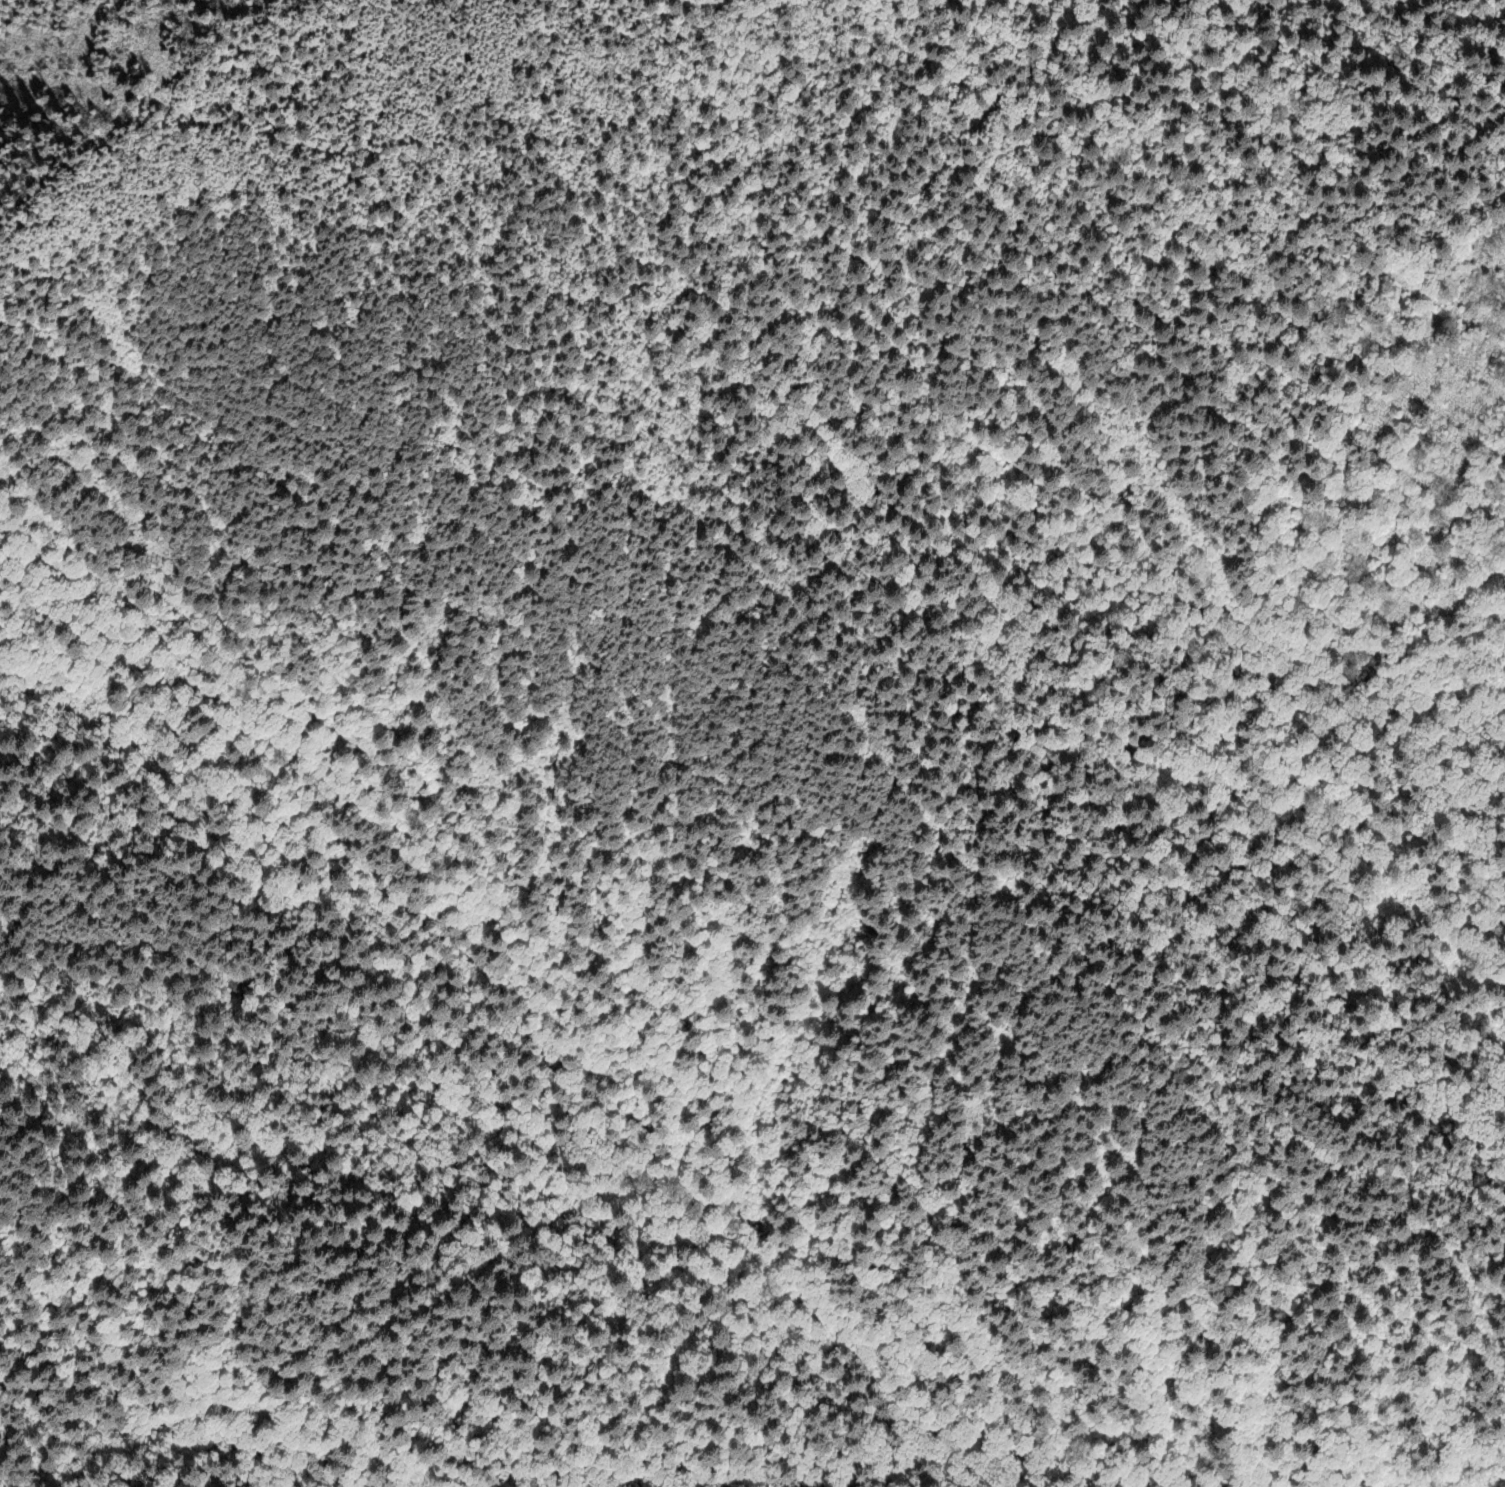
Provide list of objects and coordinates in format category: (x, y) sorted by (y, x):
river: (945, 1430)

